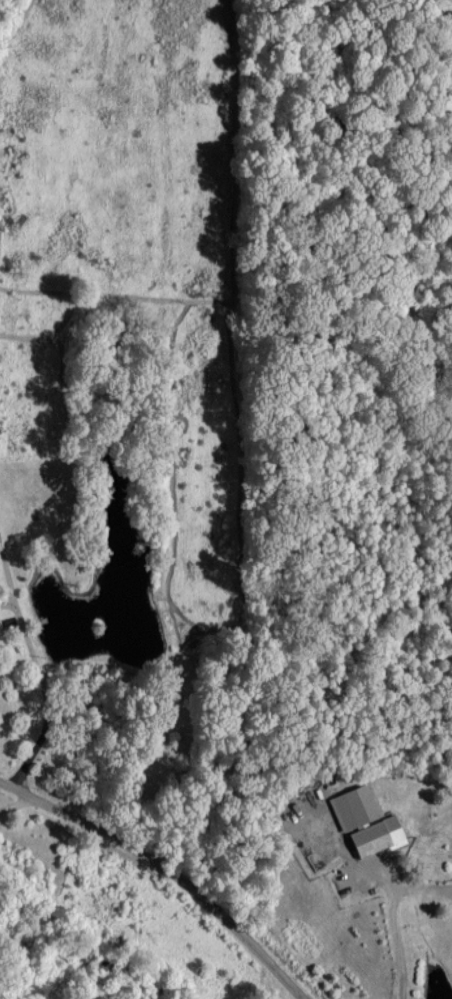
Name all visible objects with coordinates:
road: (43, 686)
road: (15, 799)
building: (355, 806)
building: (379, 835)
road: (167, 868)
road: (398, 943)

